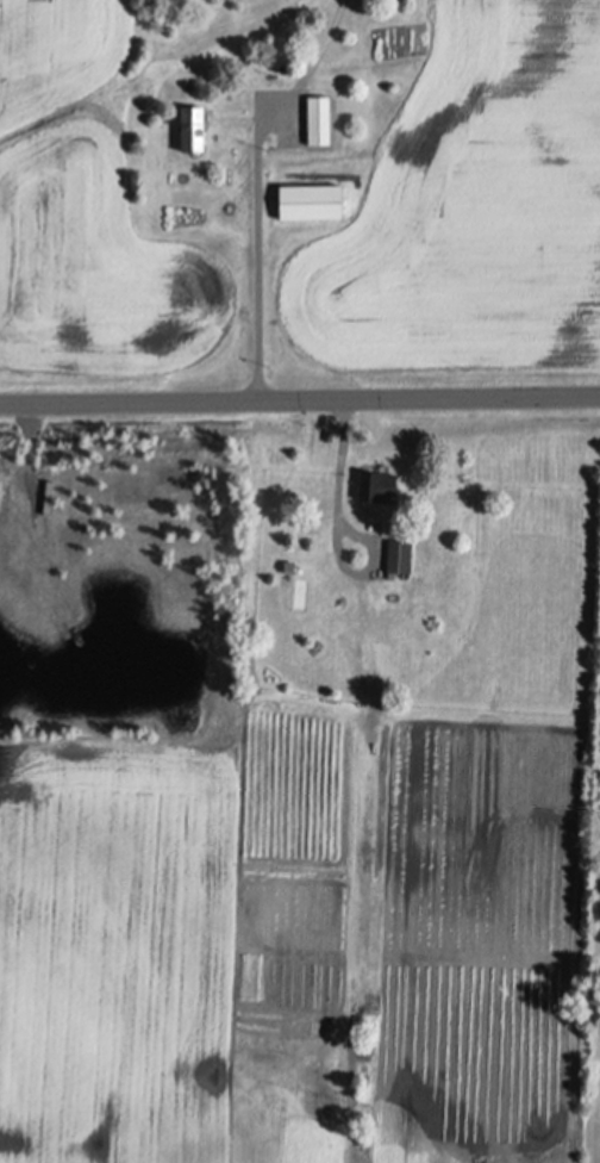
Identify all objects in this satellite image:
building: (320, 118)
building: (194, 125)
building: (313, 200)
road: (256, 249)
road: (299, 399)
building: (380, 484)
road: (333, 535)
building: (401, 554)

